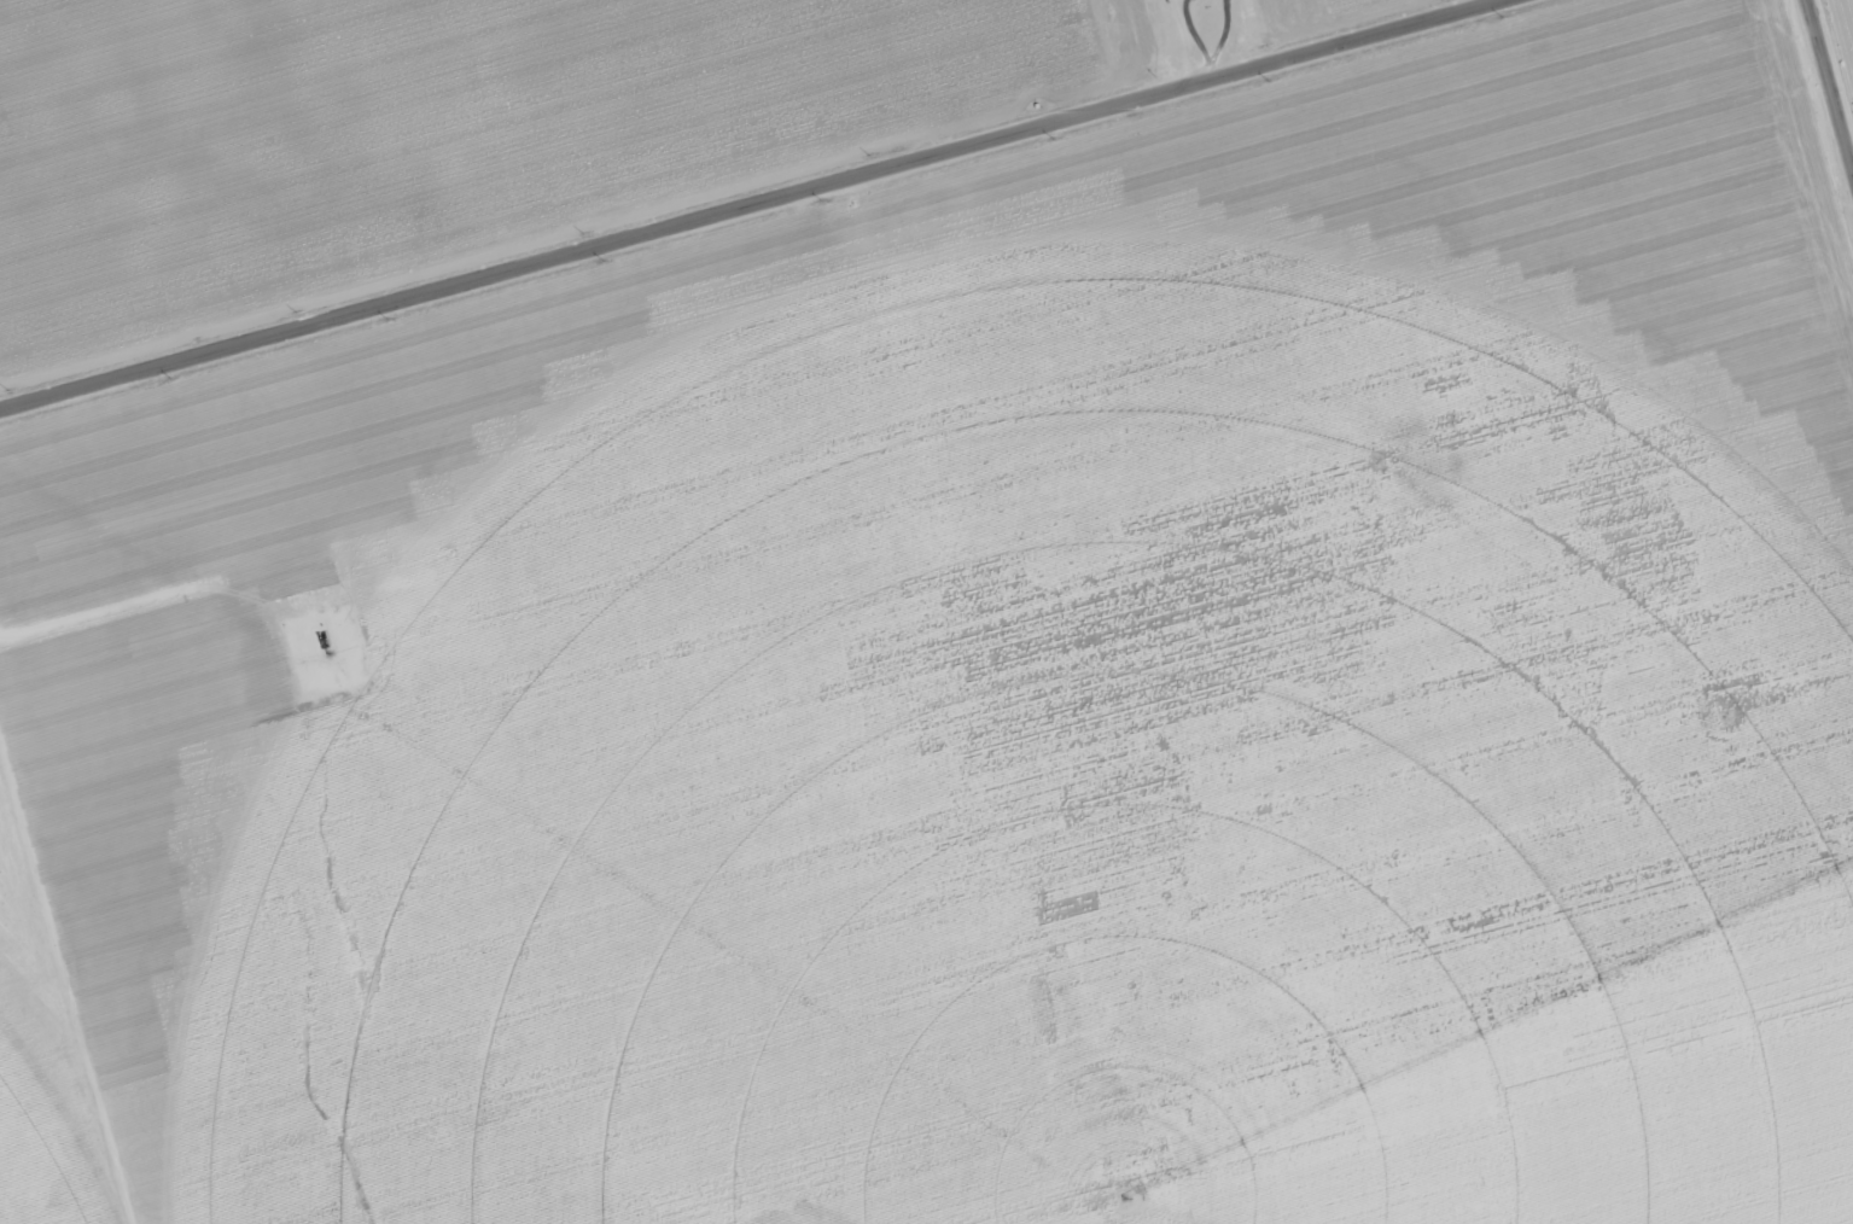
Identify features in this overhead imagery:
road: (1817, 111)
road: (748, 210)

